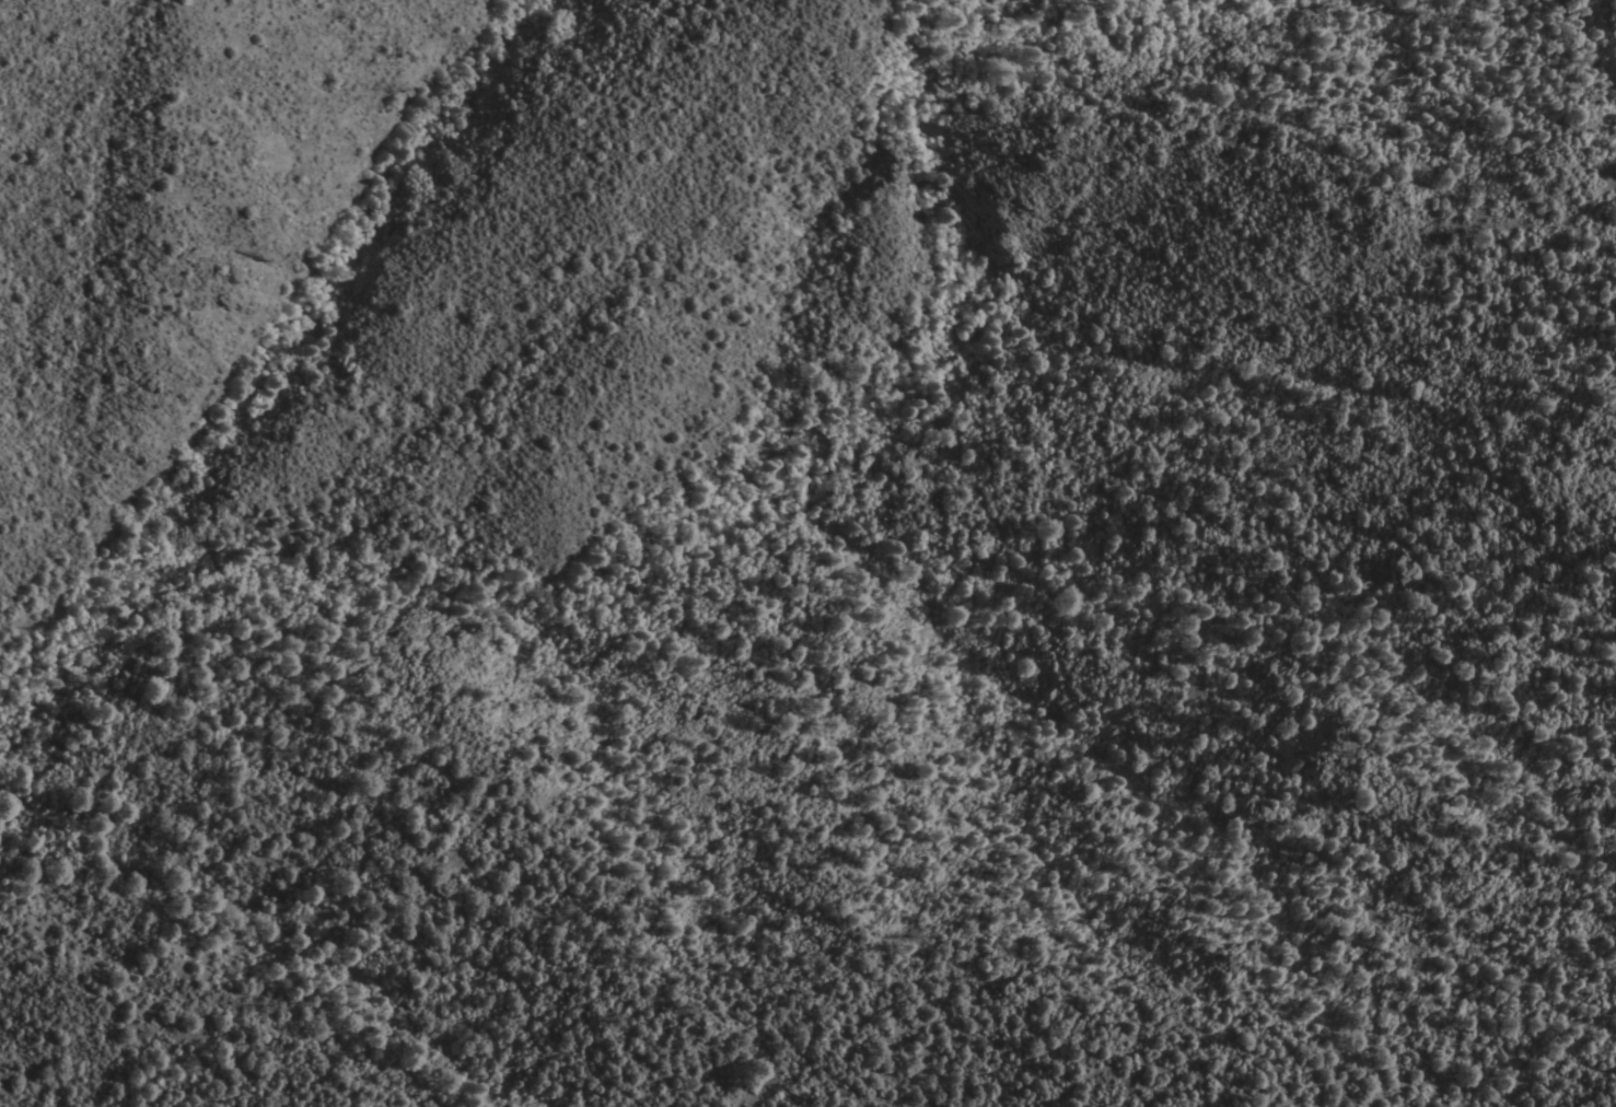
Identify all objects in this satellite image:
road: (658, 556)

